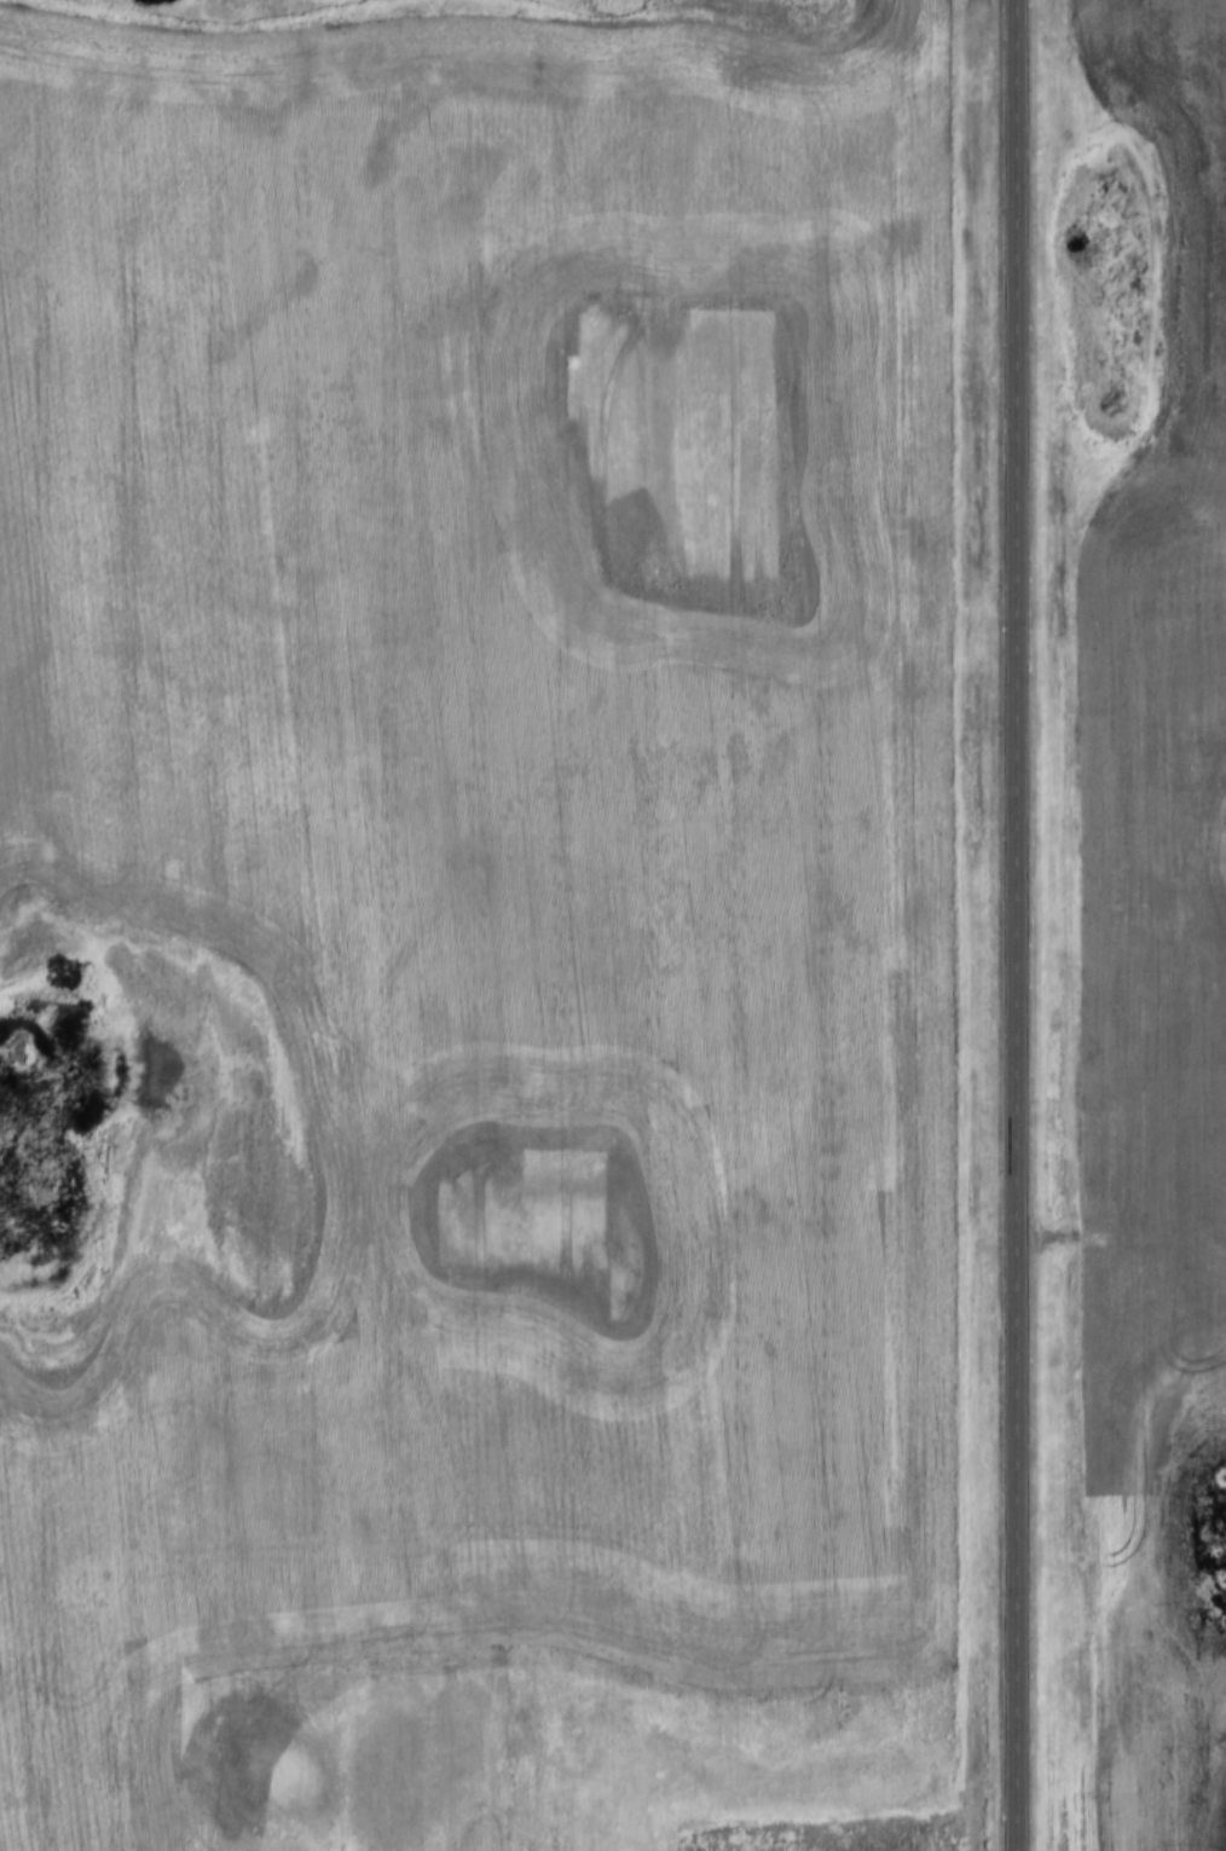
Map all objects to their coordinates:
road: (1000, 925)

